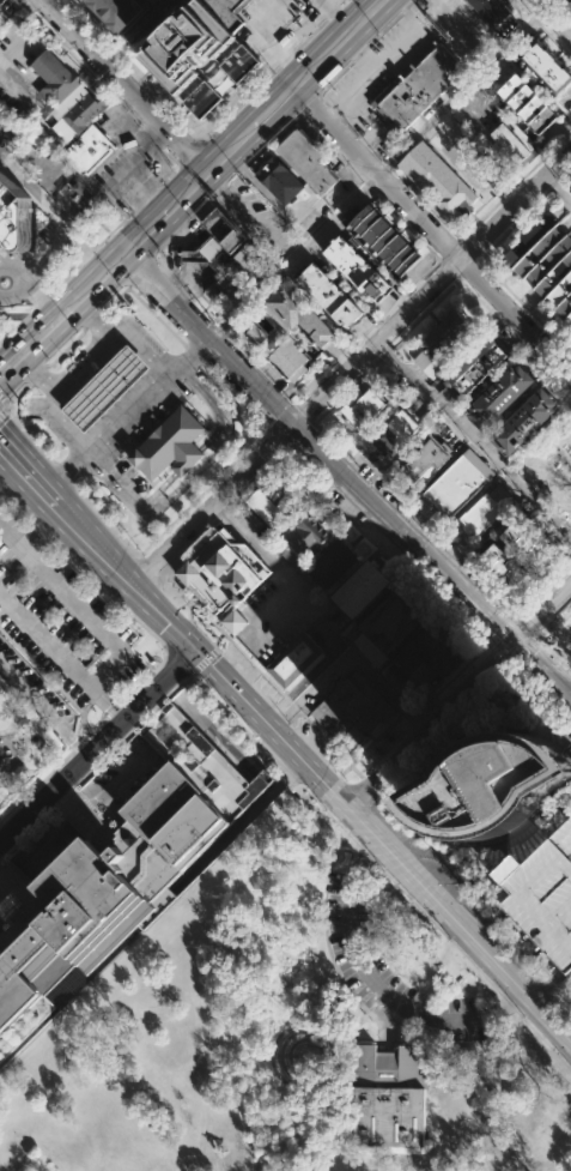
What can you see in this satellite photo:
road: (150, 2)
road: (344, 4)
building: (567, 4)
road: (407, 5)
road: (563, 8)
building: (116, 10)
building: (227, 11)
building: (488, 11)
road: (333, 13)
road: (336, 16)
road: (554, 16)
road: (81, 20)
road: (384, 28)
road: (542, 28)
road: (134, 30)
road: (310, 36)
road: (266, 38)
road: (103, 44)
road: (360, 53)
road: (360, 53)
road: (111, 54)
building: (169, 59)
road: (288, 60)
road: (80, 62)
road: (379, 62)
building: (547, 67)
road: (126, 70)
road: (338, 74)
building: (55, 77)
road: (142, 82)
road: (126, 85)
building: (419, 85)
road: (145, 87)
road: (150, 89)
road: (324, 99)
building: (69, 101)
road: (309, 103)
building: (528, 104)
road: (242, 105)
road: (272, 110)
road: (335, 113)
building: (80, 116)
road: (177, 119)
road: (308, 125)
road: (351, 128)
road: (570, 128)
road: (561, 137)
road: (157, 139)
building: (509, 144)
road: (367, 145)
building: (87, 149)
road: (189, 155)
road: (378, 156)
road: (176, 158)
building: (306, 159)
road: (387, 164)
building: (43, 165)
road: (244, 169)
road: (136, 174)
road: (378, 174)
road: (564, 174)
building: (279, 180)
road: (164, 181)
building: (438, 181)
road: (553, 185)
road: (225, 187)
road: (558, 188)
road: (372, 189)
building: (77, 199)
road: (272, 201)
road: (144, 203)
road: (56, 210)
road: (200, 210)
building: (13, 211)
parking lot: (305, 213)
road: (250, 217)
parking lot: (259, 222)
road: (187, 223)
road: (473, 225)
road: (117, 228)
building: (221, 228)
road: (431, 231)
road: (174, 236)
road: (142, 240)
road: (460, 240)
building: (385, 242)
road: (162, 249)
road: (469, 251)
building: (209, 254)
road: (89, 255)
building: (248, 255)
road: (51, 256)
road: (441, 259)
road: (479, 259)
road: (159, 260)
building: (546, 261)
road: (114, 267)
road: (450, 268)
building: (357, 270)
road: (490, 271)
road: (144, 272)
road: (458, 278)
road: (22, 283)
building: (229, 283)
road: (177, 284)
road: (430, 285)
road: (91, 291)
building: (330, 297)
road: (116, 300)
road: (482, 302)
road: (41, 303)
road: (213, 307)
road: (74, 308)
road: (425, 313)
road: (156, 316)
building: (299, 316)
road: (96, 319)
road: (96, 320)
road: (230, 325)
road: (367, 330)
building: (447, 333)
road: (36, 340)
road: (209, 340)
road: (138, 344)
road: (67, 348)
road: (385, 350)
road: (194, 355)
building: (290, 360)
road: (539, 360)
building: (427, 363)
parking lot: (427, 363)
building: (476, 367)
road: (2, 369)
road: (2, 374)
road: (37, 374)
road: (66, 376)
building: (107, 386)
gas station: (107, 386)
road: (348, 388)
road: (144, 393)
road: (18, 394)
building: (393, 397)
building: (452, 397)
parking lot: (452, 397)
building: (502, 398)
road: (237, 399)
building: (362, 408)
road: (4, 409)
road: (306, 410)
road: (60, 421)
building: (526, 423)
road: (29, 434)
building: (395, 434)
road: (302, 435)
road: (212, 436)
road: (473, 436)
road: (278, 439)
building: (170, 445)
road: (217, 449)
building: (563, 452)
building: (425, 457)
road: (188, 460)
road: (23, 471)
road: (63, 473)
road: (65, 476)
road: (108, 478)
road: (255, 482)
building: (460, 482)
road: (157, 491)
road: (199, 495)
building: (272, 505)
road: (212, 506)
road: (135, 507)
road: (414, 509)
building: (485, 509)
road: (223, 512)
road: (108, 521)
road: (405, 532)
building: (302, 539)
building: (526, 542)
road: (377, 547)
building: (334, 561)
road: (80, 563)
building: (502, 563)
road: (147, 567)
road: (159, 573)
building: (224, 575)
road: (284, 577)
building: (360, 586)
road: (545, 591)
road: (78, 608)
road: (204, 608)
road: (514, 614)
road: (543, 614)
building: (387, 624)
road: (527, 626)
parking lot: (56, 630)
road: (503, 632)
road: (526, 648)
traffic signals: (194, 651)
road: (552, 651)
road: (211, 653)
road: (61, 654)
road: (350, 654)
building: (425, 654)
road: (176, 659)
building: (296, 659)
road: (543, 668)
road: (461, 670)
road: (148, 675)
road: (190, 676)
road: (542, 689)
road: (429, 702)
road: (296, 707)
road: (114, 708)
building: (350, 708)
road: (43, 710)
road: (225, 711)
road: (419, 711)
road: (190, 713)
road: (408, 713)
road: (431, 722)
road: (96, 728)
road: (170, 734)
road: (124, 736)
road: (220, 736)
road: (375, 740)
road: (78, 744)
road: (96, 746)
road: (332, 746)
road: (226, 750)
road: (265, 753)
road: (262, 756)
road: (215, 760)
building: (202, 761)
road: (208, 765)
road: (278, 765)
road: (310, 766)
road: (63, 777)
road: (291, 778)
road: (122, 784)
building: (490, 784)
road: (35, 785)
road: (367, 785)
road: (66, 793)
road: (66, 796)
road: (59, 807)
road: (93, 808)
road: (81, 810)
road: (372, 810)
road: (65, 813)
road: (328, 815)
road: (95, 826)
road: (238, 827)
road: (80, 828)
road: (29, 829)
road: (99, 831)
road: (43, 832)
road: (113, 835)
building: (523, 838)
road: (1, 853)
road: (366, 855)
road: (1, 858)
road: (63, 864)
road: (71, 873)
road: (20, 875)
road: (74, 875)
road: (442, 875)
building: (108, 886)
road: (20, 887)
building: (542, 892)
parking garage: (542, 892)
road: (5, 906)
road: (32, 910)
road: (5, 919)
road: (25, 924)
road: (13, 928)
road: (437, 928)
road: (10, 932)
road: (324, 940)
road: (517, 952)
road: (515, 958)
parking lot: (389, 974)
road: (529, 974)
road: (362, 984)
road: (378, 984)
road: (548, 985)
road: (543, 990)
road: (351, 992)
road: (370, 994)
road: (376, 1001)
road: (358, 1002)
road: (506, 1002)
road: (559, 1004)
road: (366, 1010)
road: (388, 1021)
park: (290, 1037)
road: (545, 1037)
road: (360, 1039)
road: (456, 1044)
road: (330, 1082)
building: (384, 1094)

